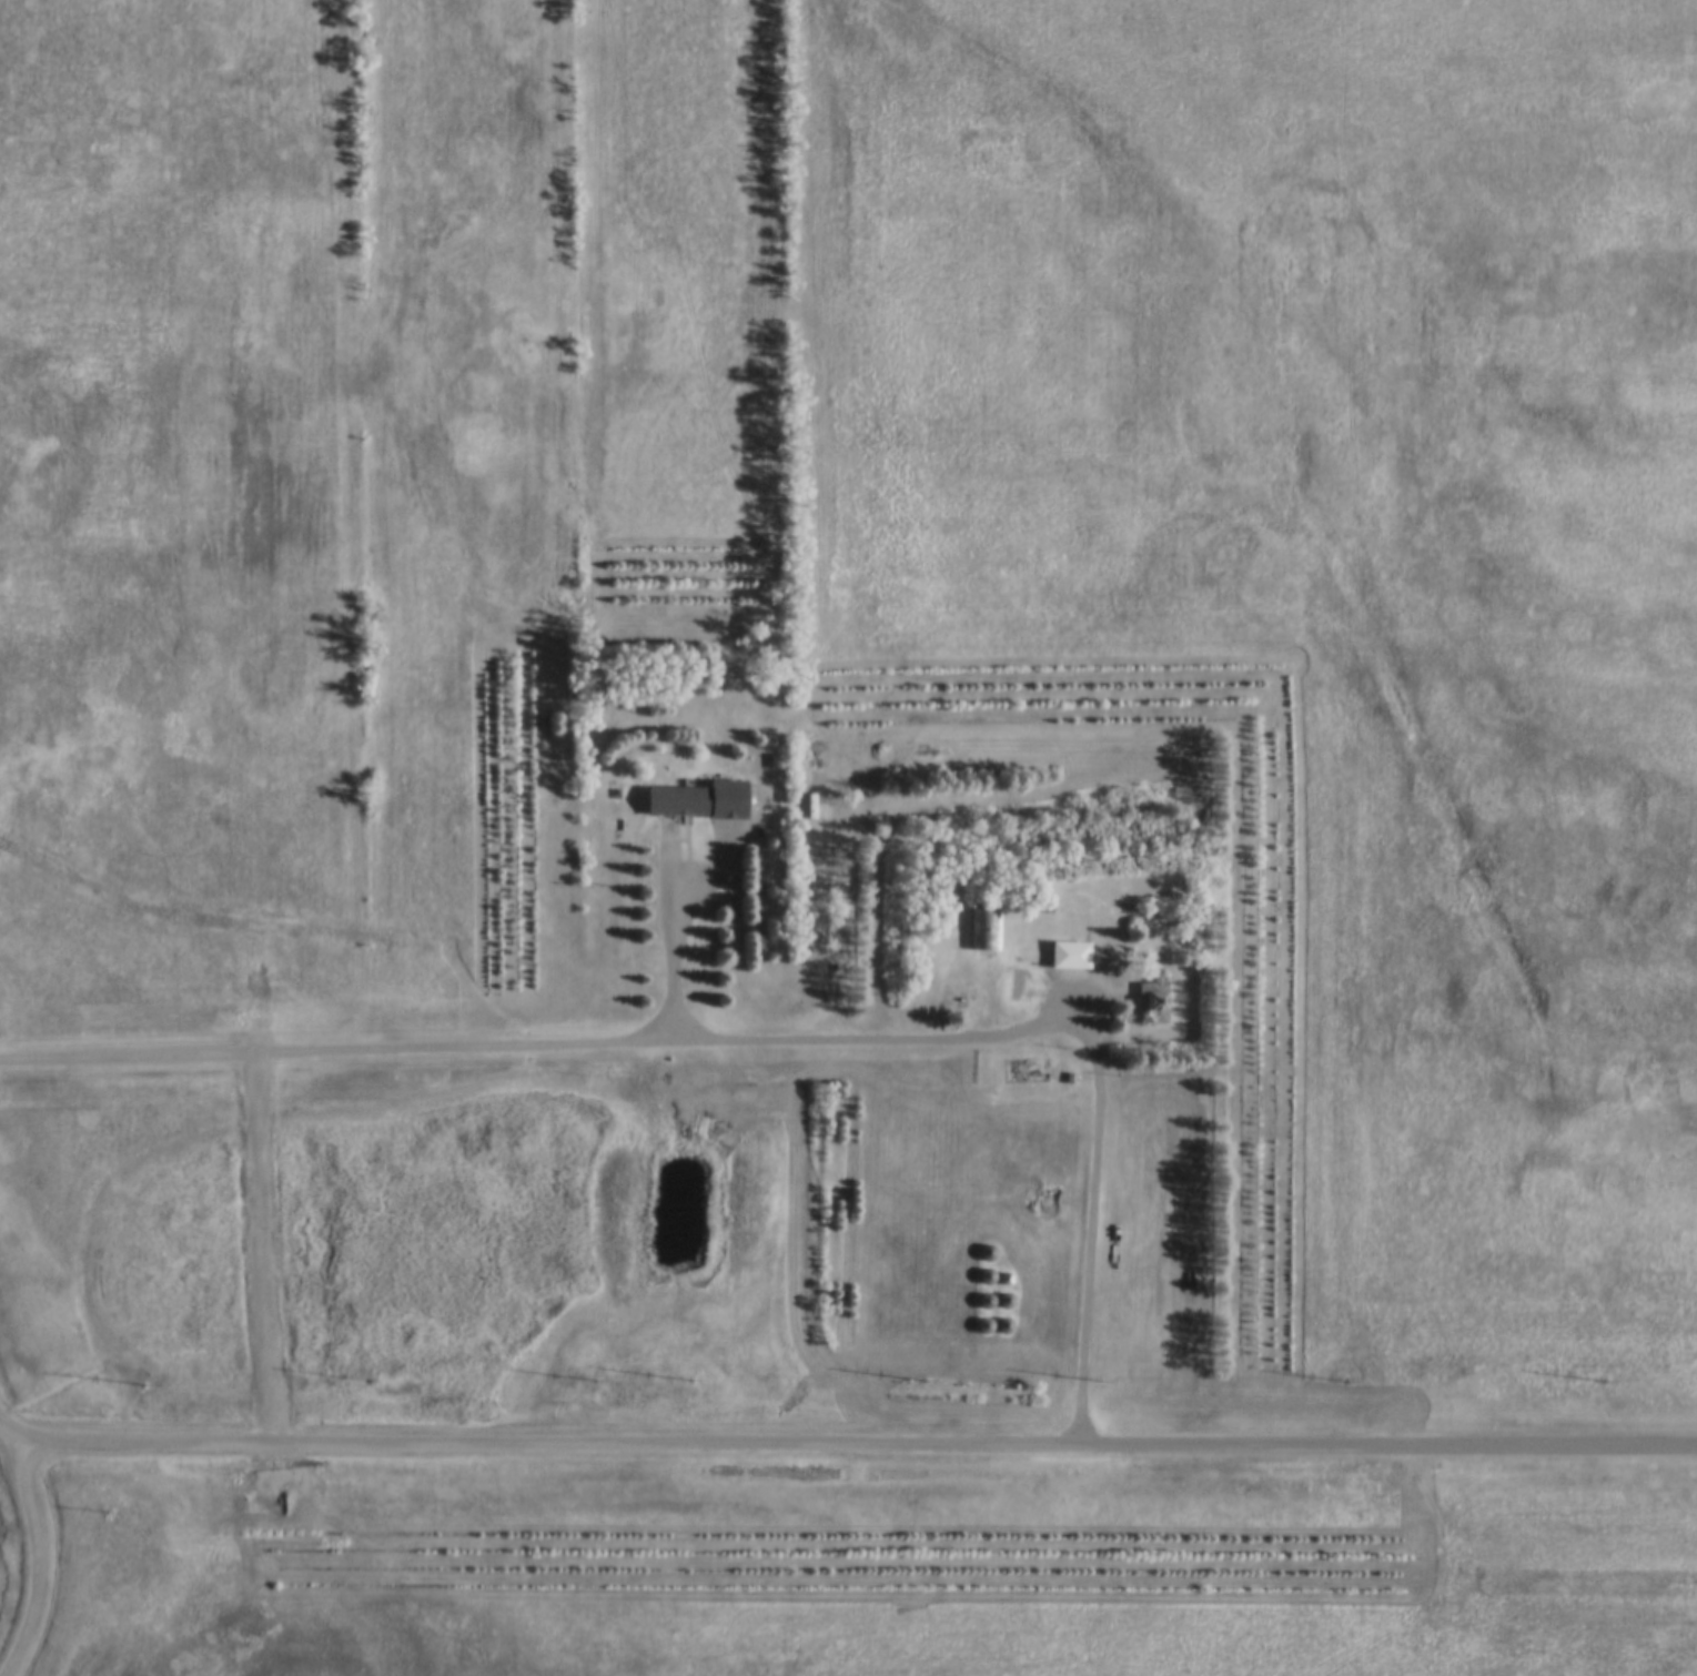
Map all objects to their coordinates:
road: (816, 519)
building: (677, 801)
building: (663, 835)
building: (1046, 909)
building: (989, 931)
road: (675, 937)
building: (1069, 956)
building: (1020, 988)
building: (1154, 1004)
road: (750, 1041)
building: (1026, 1072)
building: (1044, 1202)
road: (267, 1246)
road: (7, 1430)
road: (855, 1441)
road: (38, 1559)

